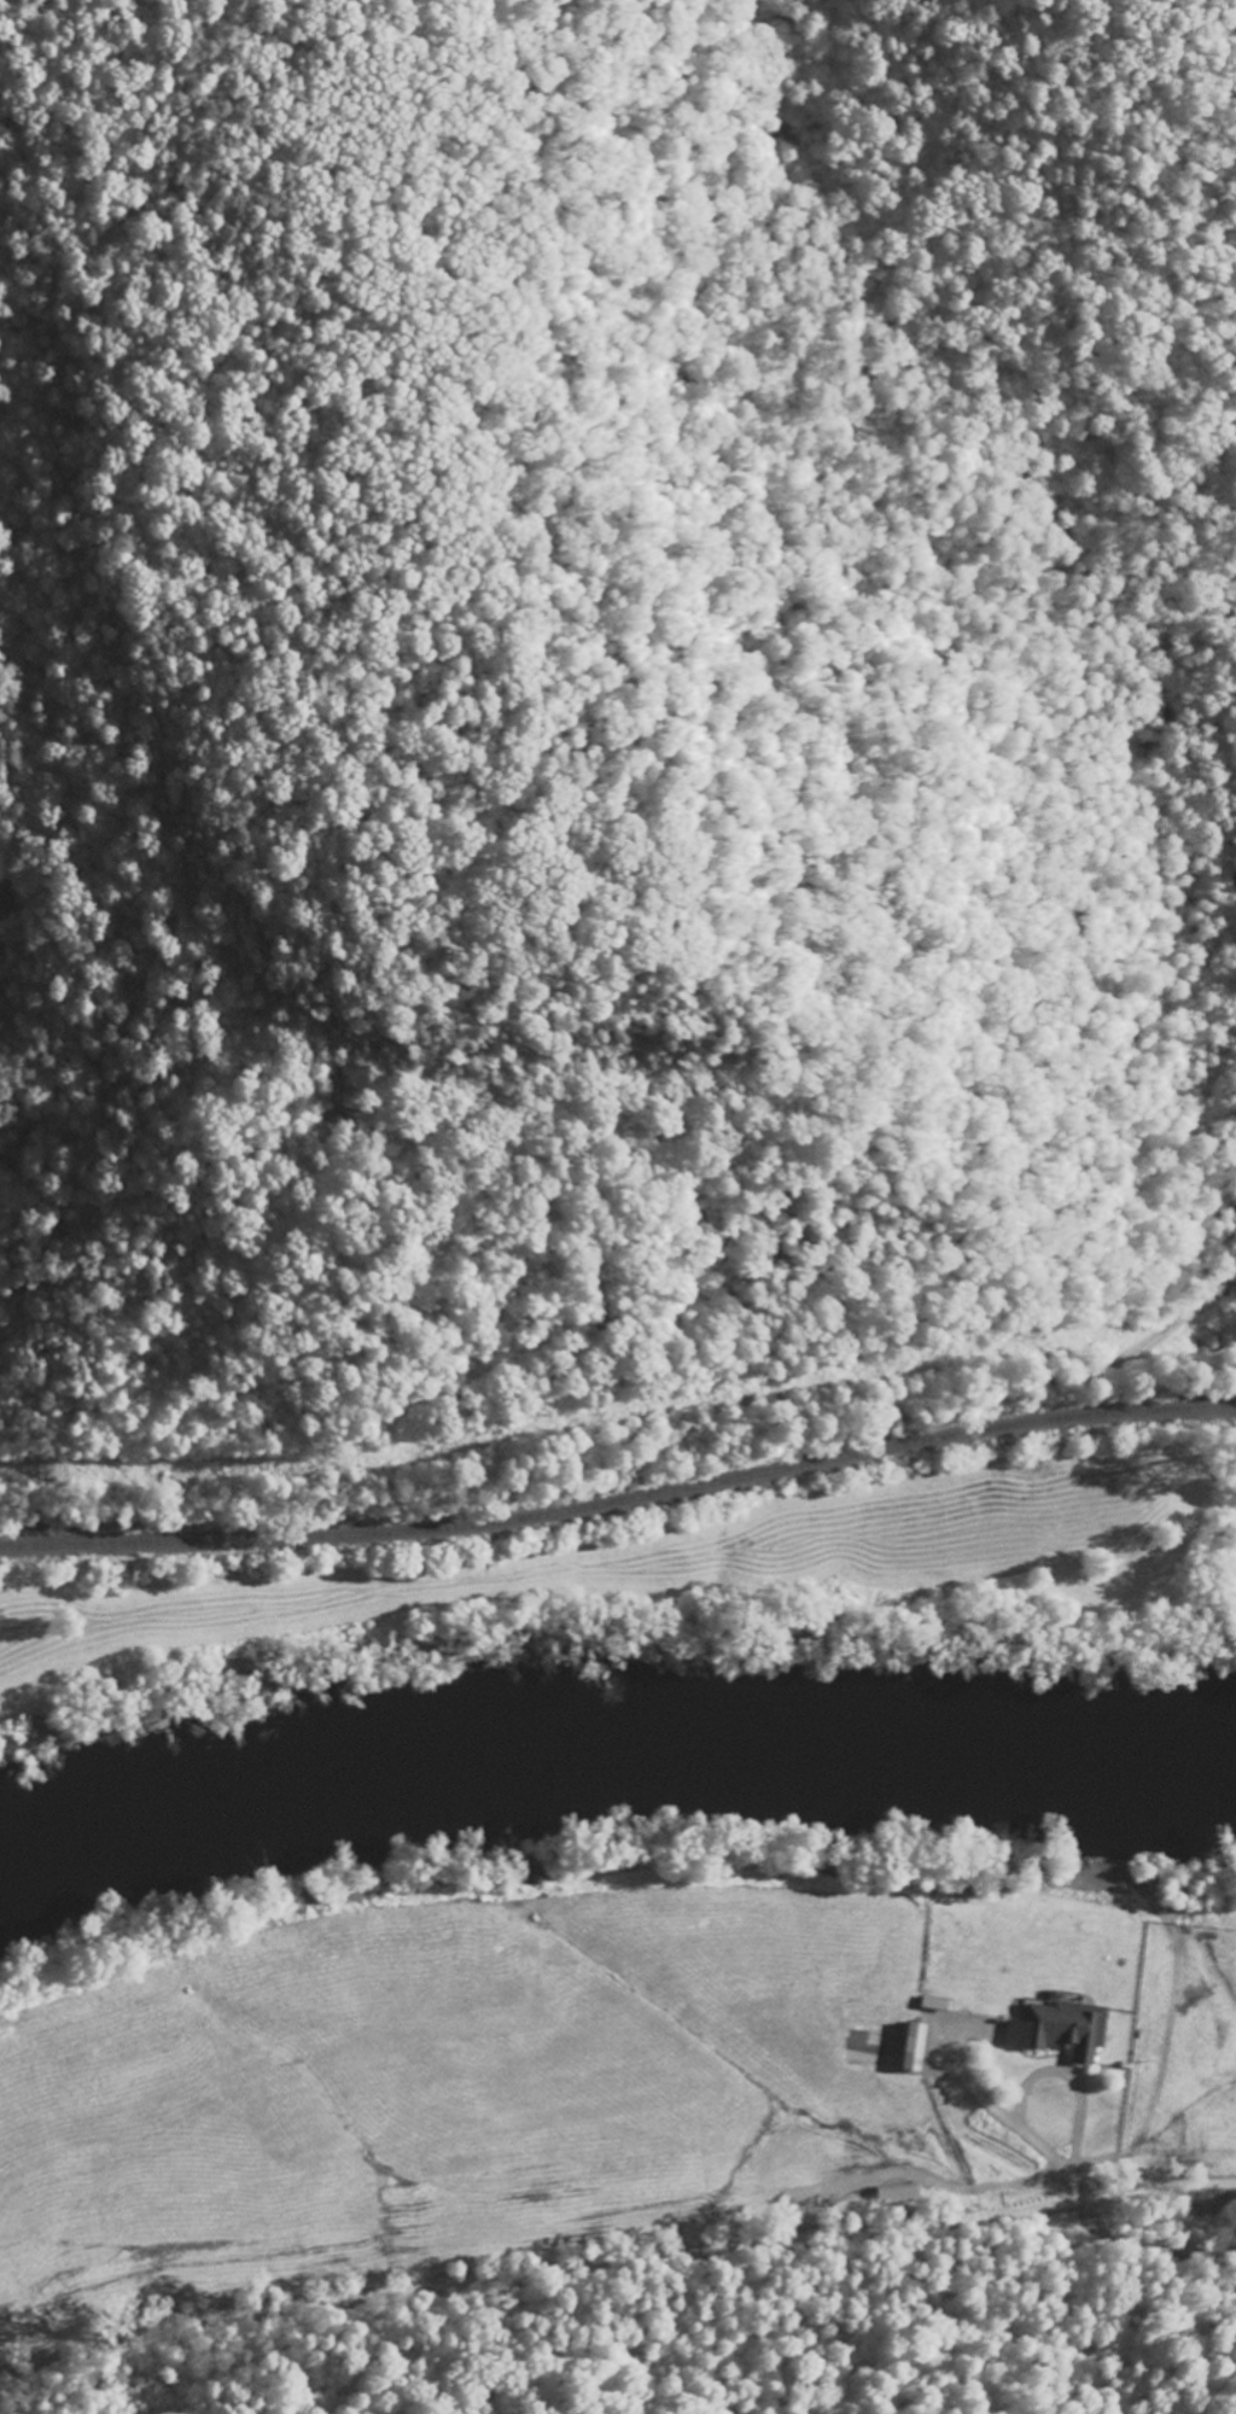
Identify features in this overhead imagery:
railway: (620, 1541)
river: (611, 1743)
building: (1056, 2028)
building: (909, 2046)
building: (897, 2193)
road: (616, 2275)

